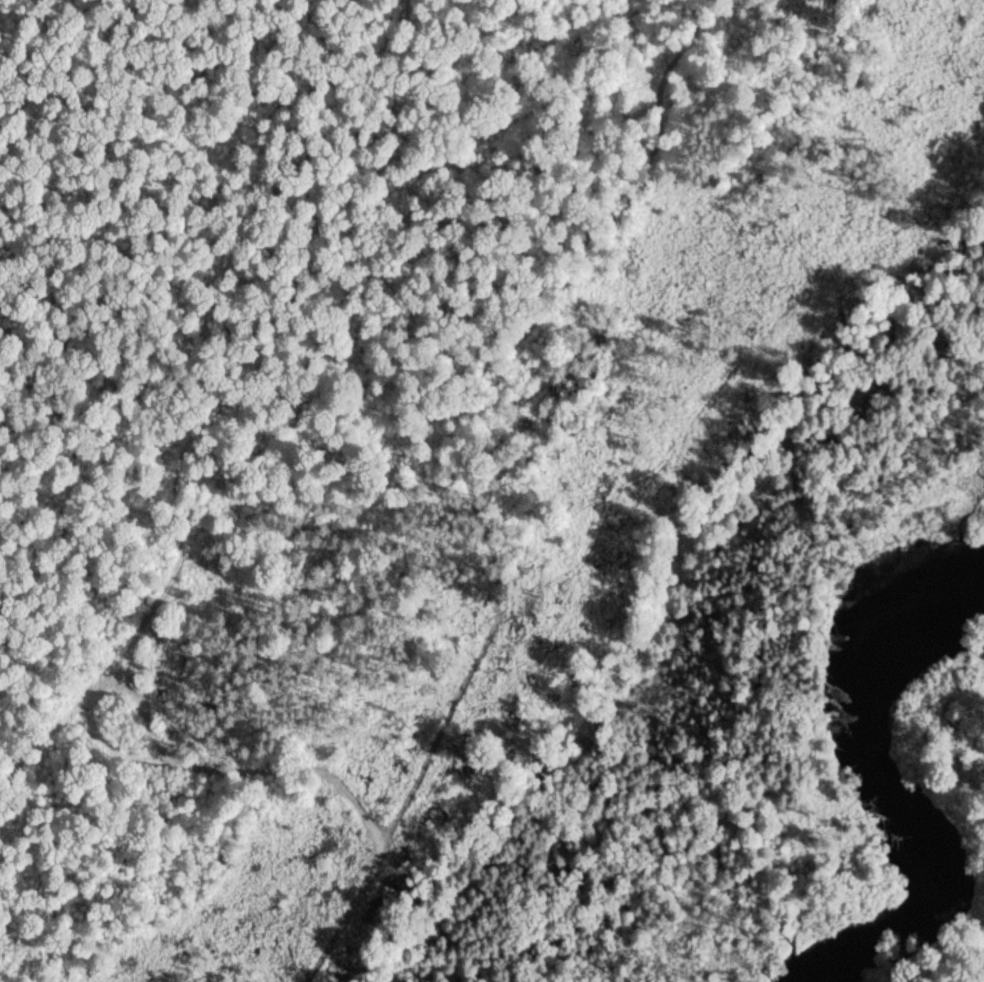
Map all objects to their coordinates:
road: (87, 502)
road: (179, 552)
river: (887, 783)

